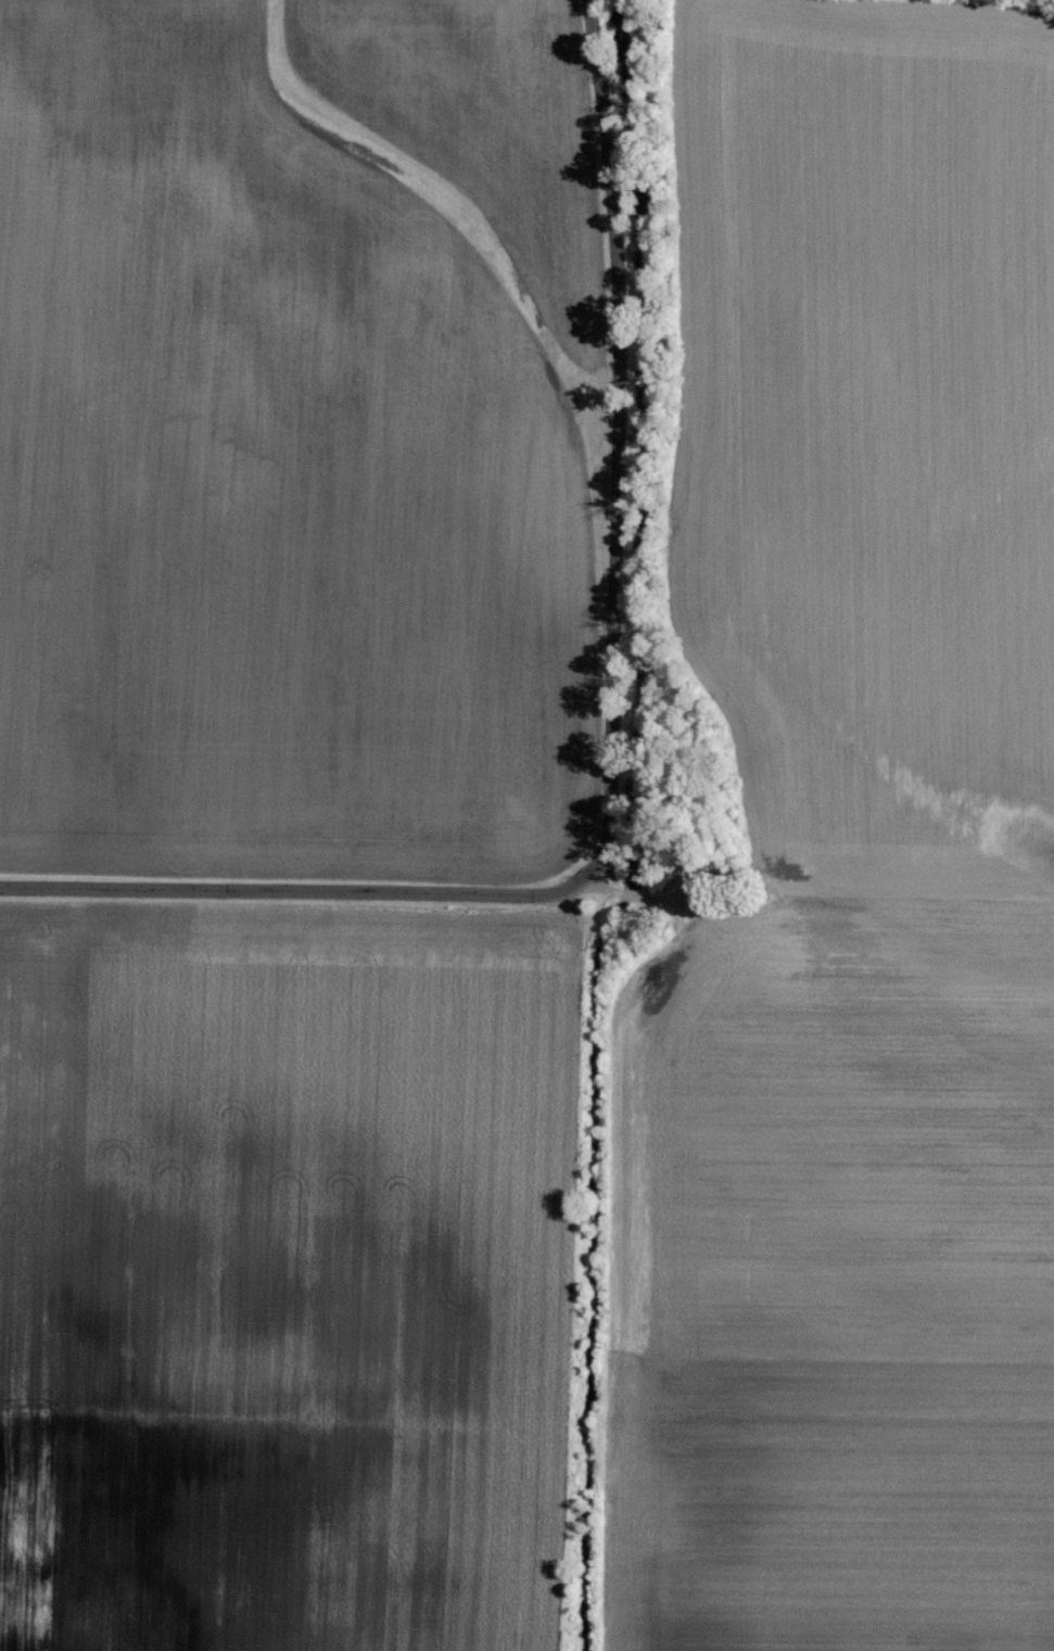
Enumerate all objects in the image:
road: (609, 738)

